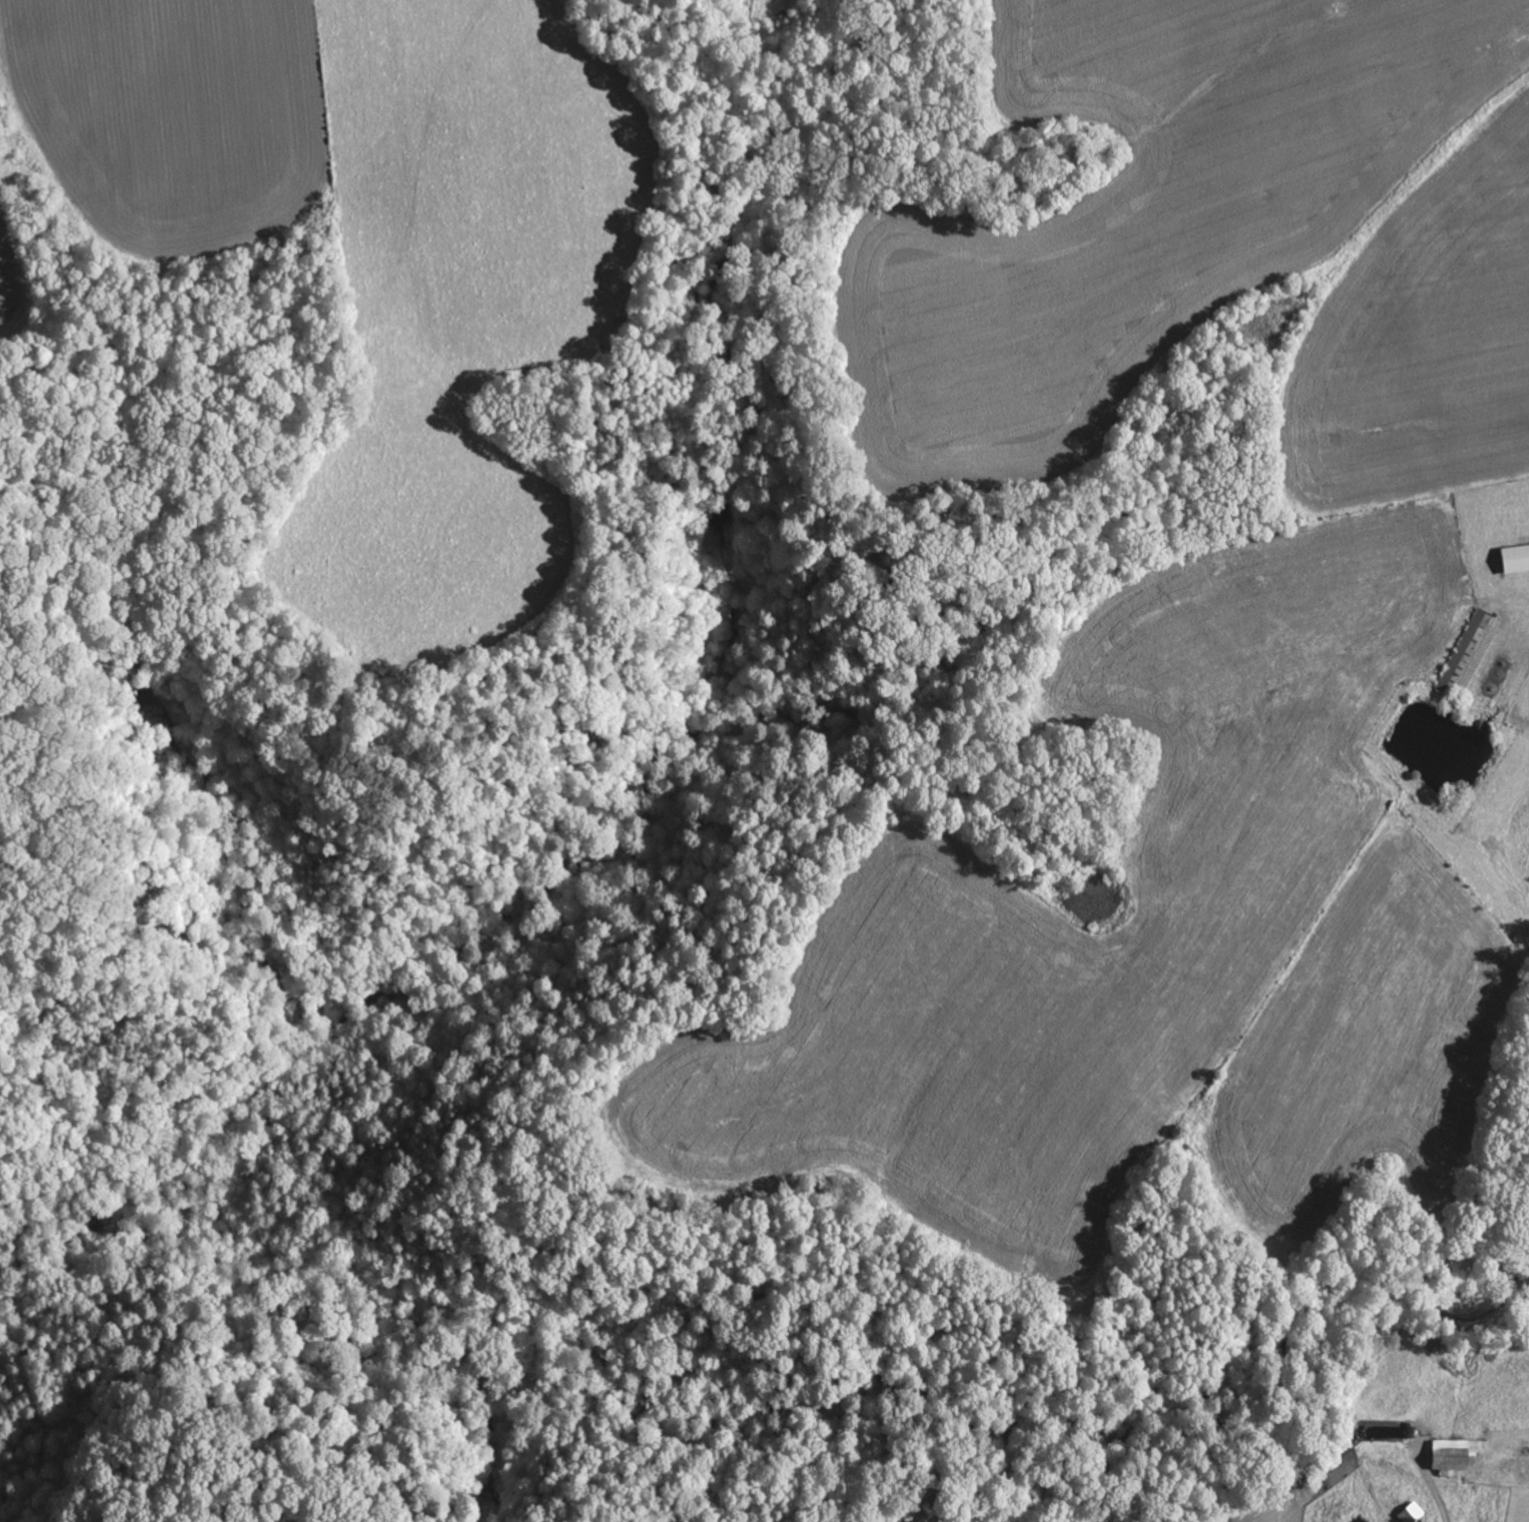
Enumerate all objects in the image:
building: (1514, 559)
building: (1452, 1455)
building: (1408, 1514)

